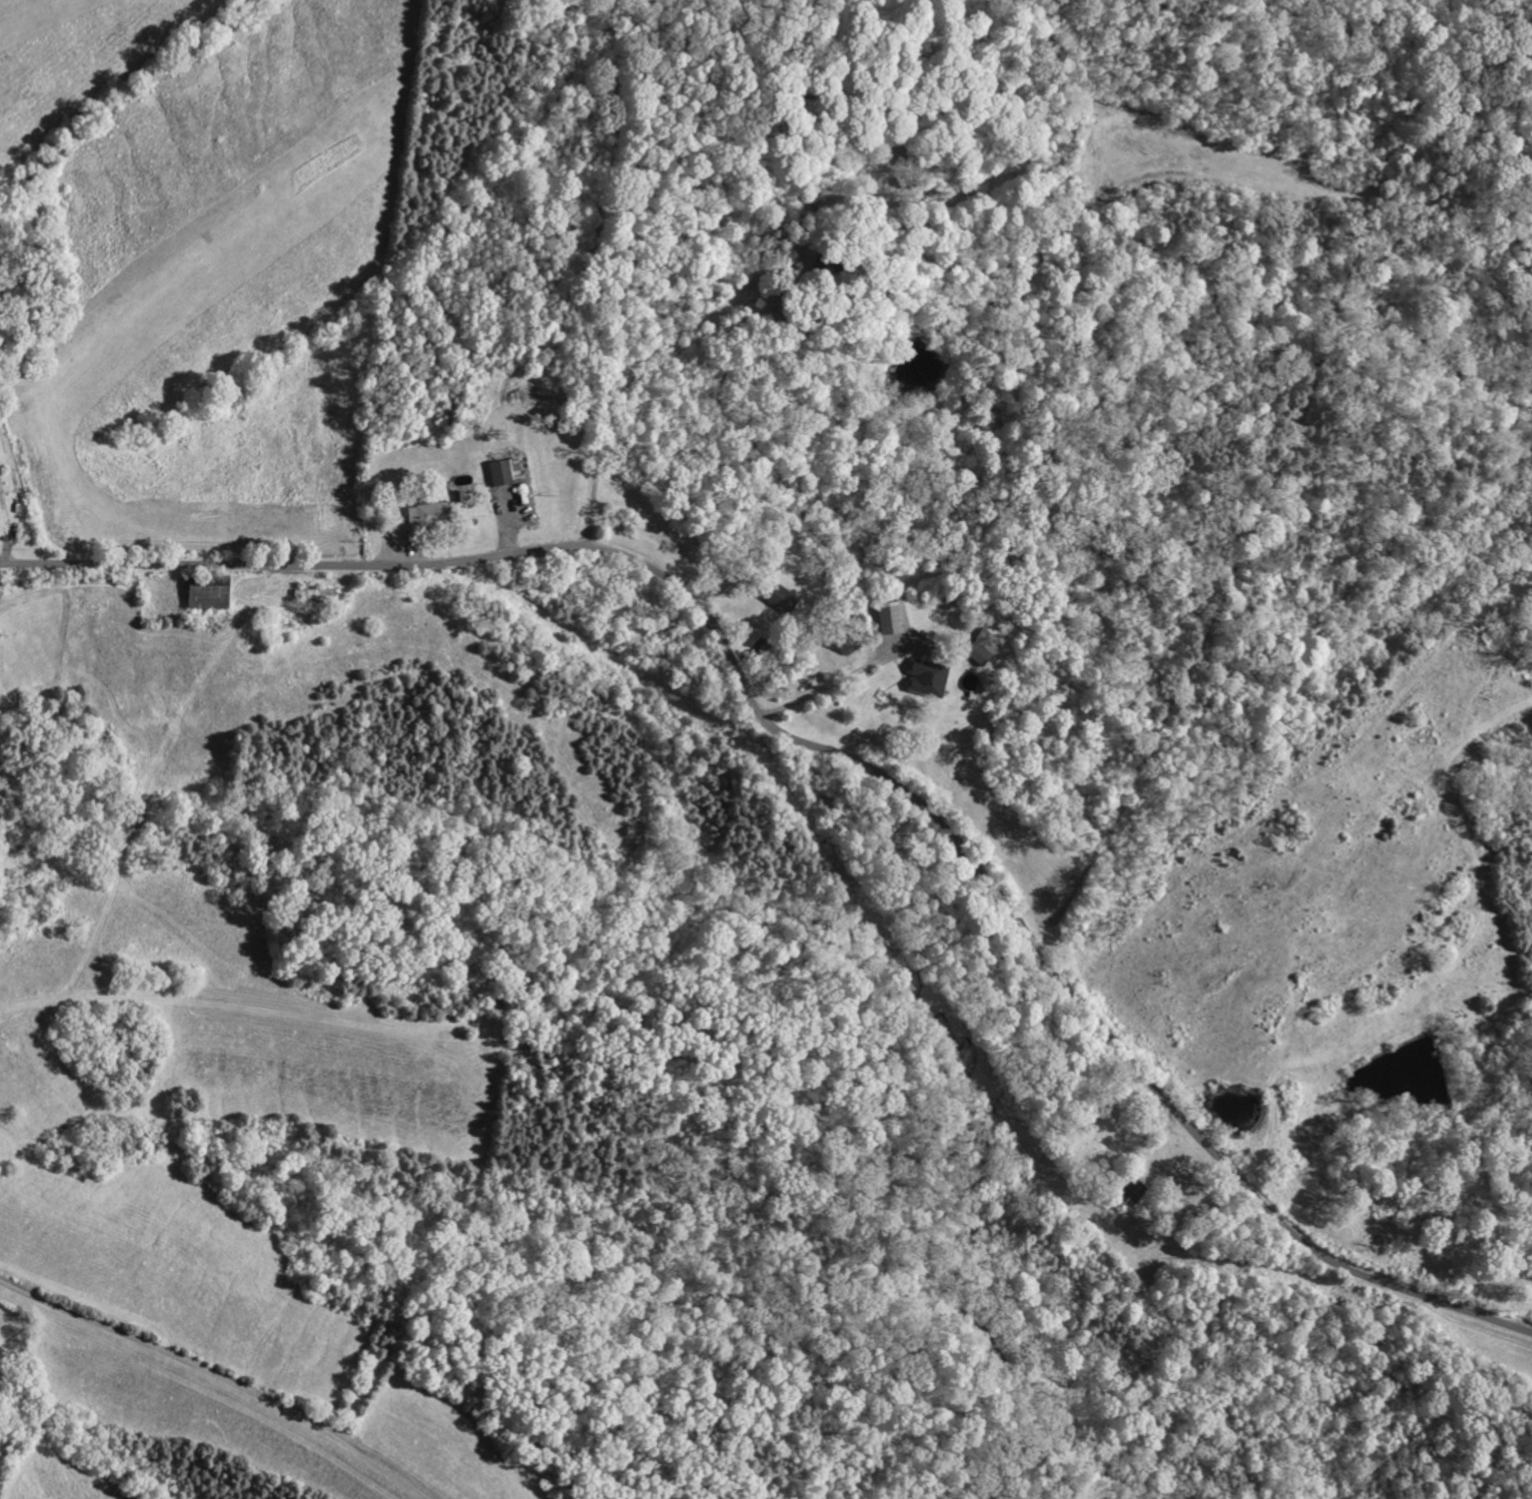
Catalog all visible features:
road: (638, 362)
building: (502, 471)
building: (425, 515)
building: (205, 597)
building: (777, 597)
building: (889, 617)
building: (926, 677)
road: (835, 681)
road: (835, 753)
road: (207, 1375)

